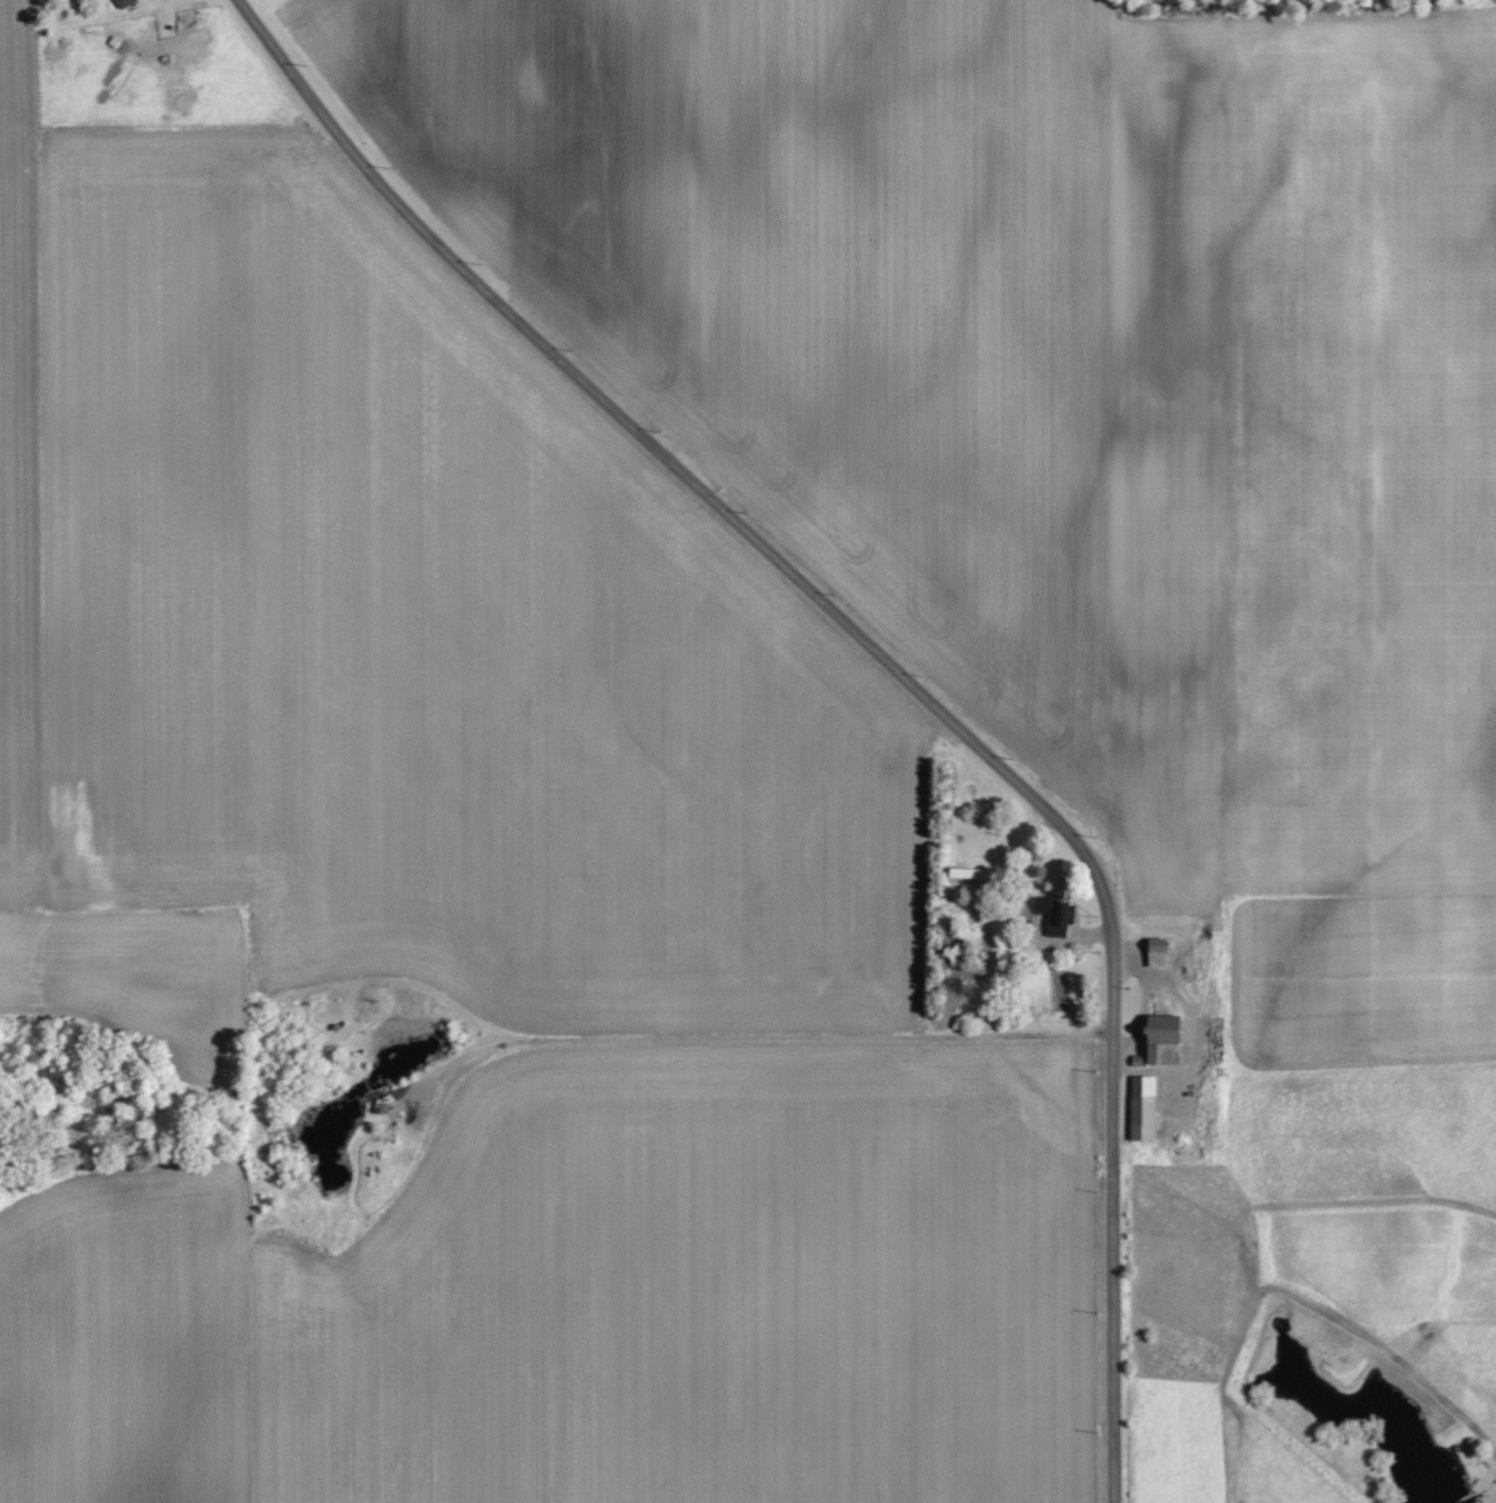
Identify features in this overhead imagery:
building: (123, 3)
road: (885, 663)
building: (972, 872)
building: (1051, 908)
building: (1158, 952)
building: (1165, 1039)
building: (1144, 1107)

